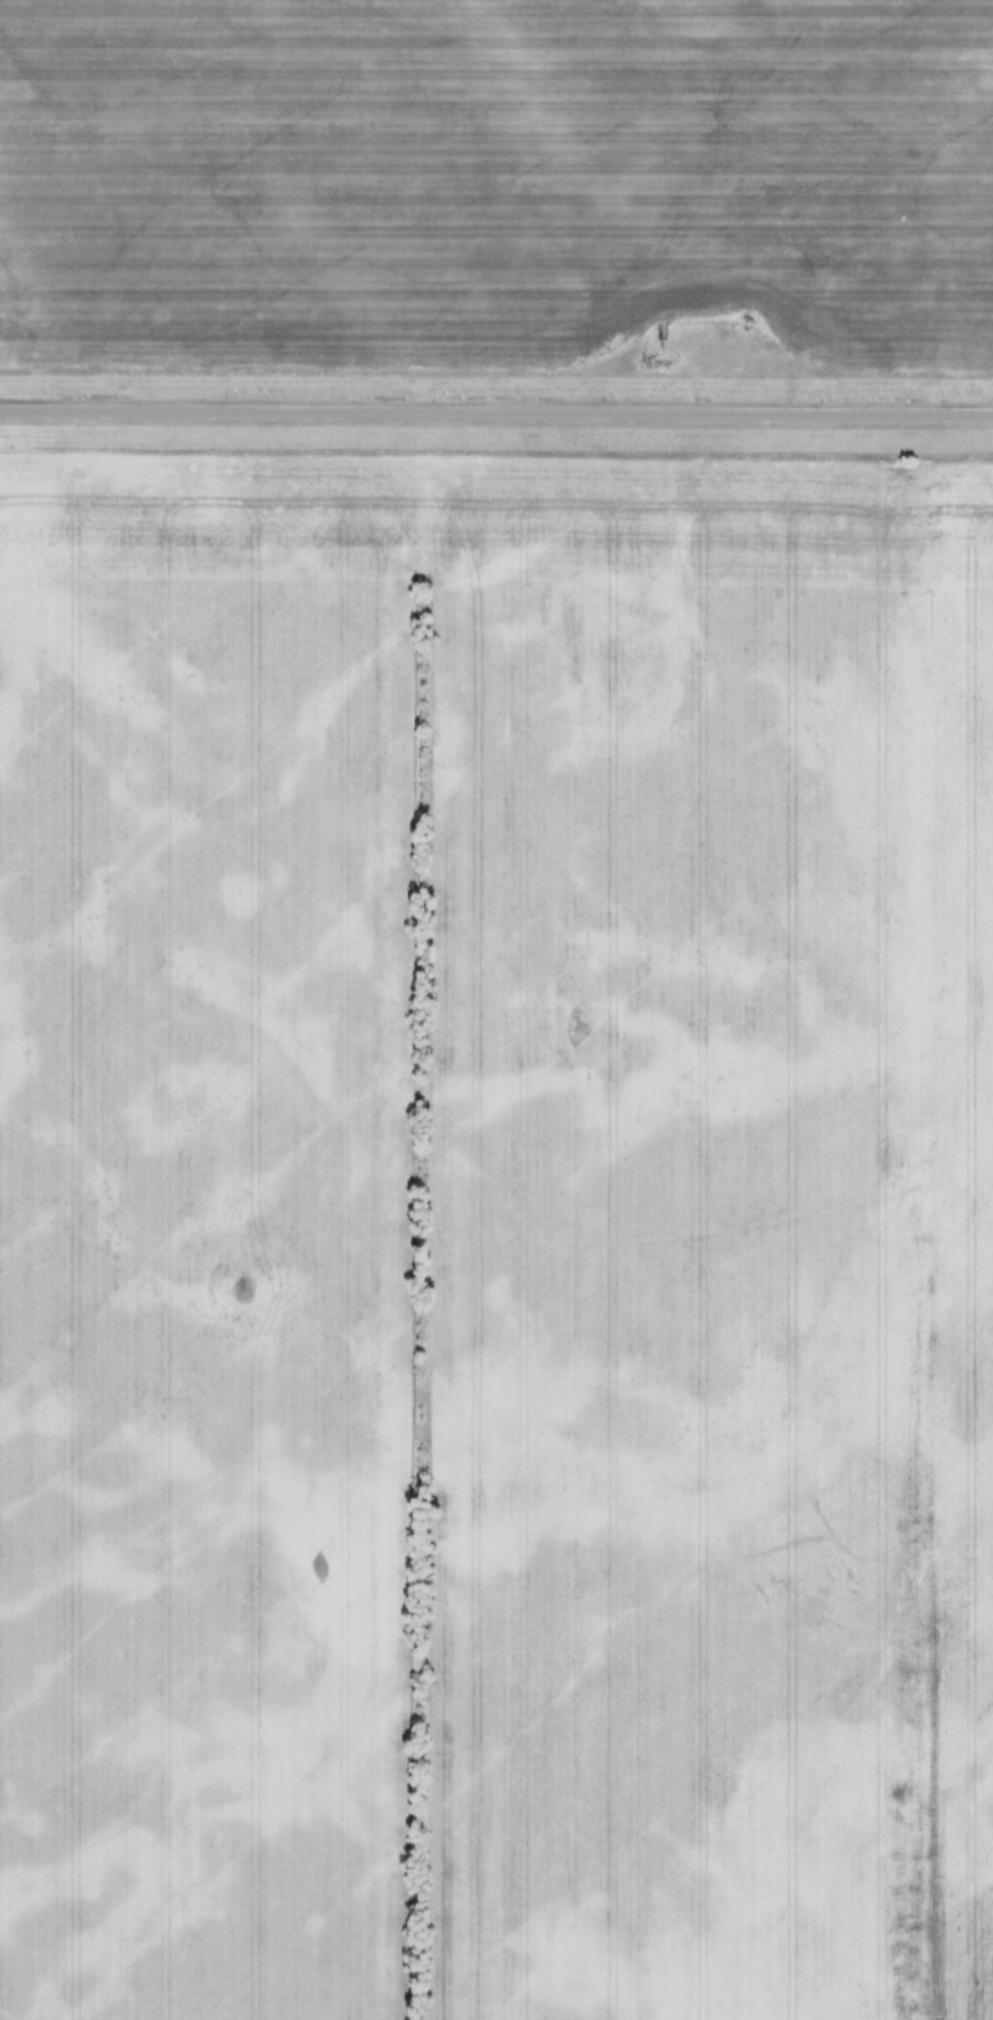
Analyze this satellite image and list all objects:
road: (496, 411)

